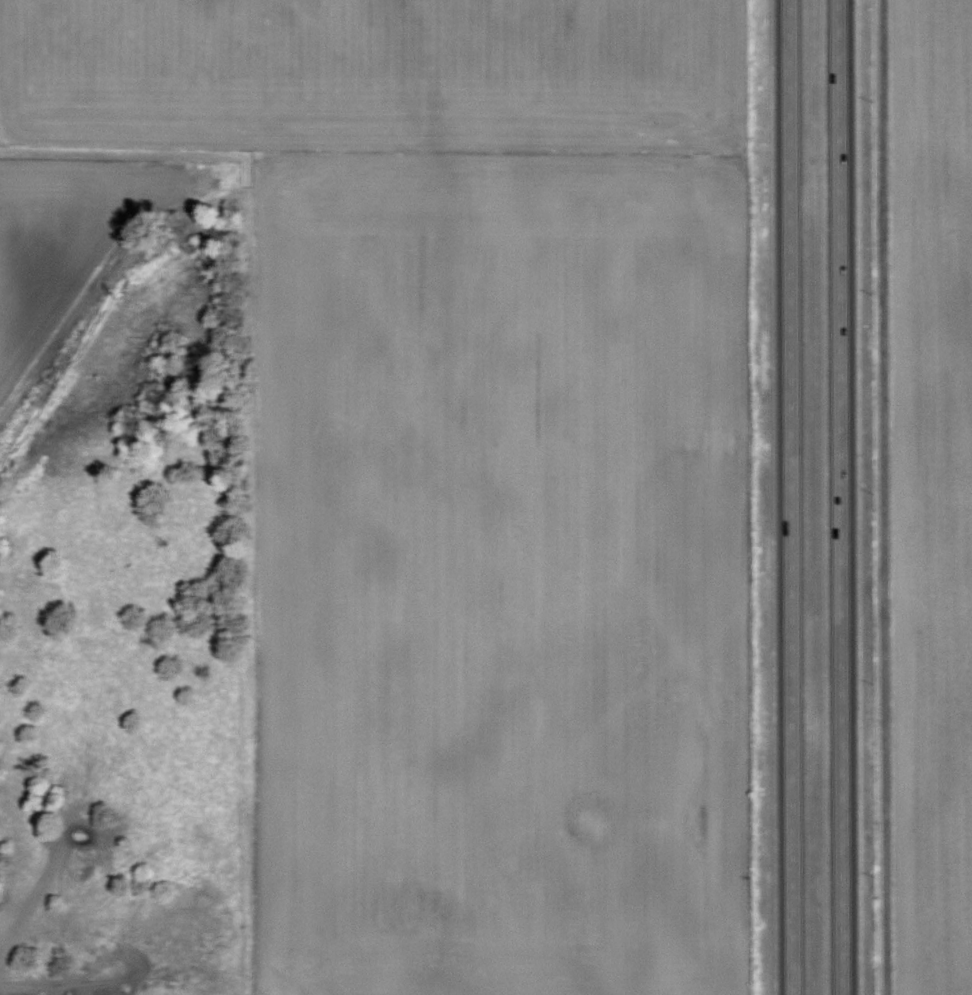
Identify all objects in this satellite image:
road: (787, 497)
road: (843, 497)
road: (884, 497)

